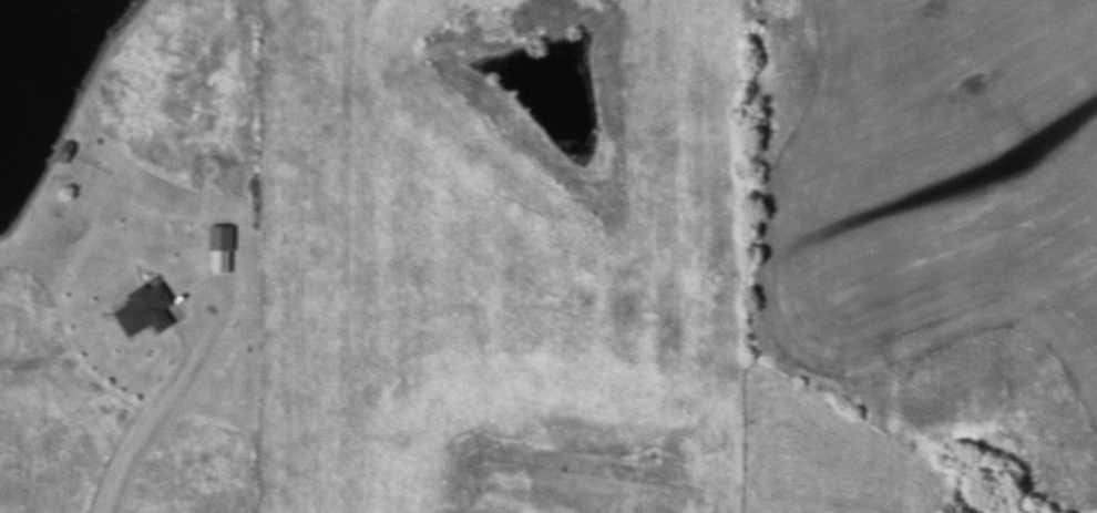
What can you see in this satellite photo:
crop: (932, 224)
building: (217, 236)

